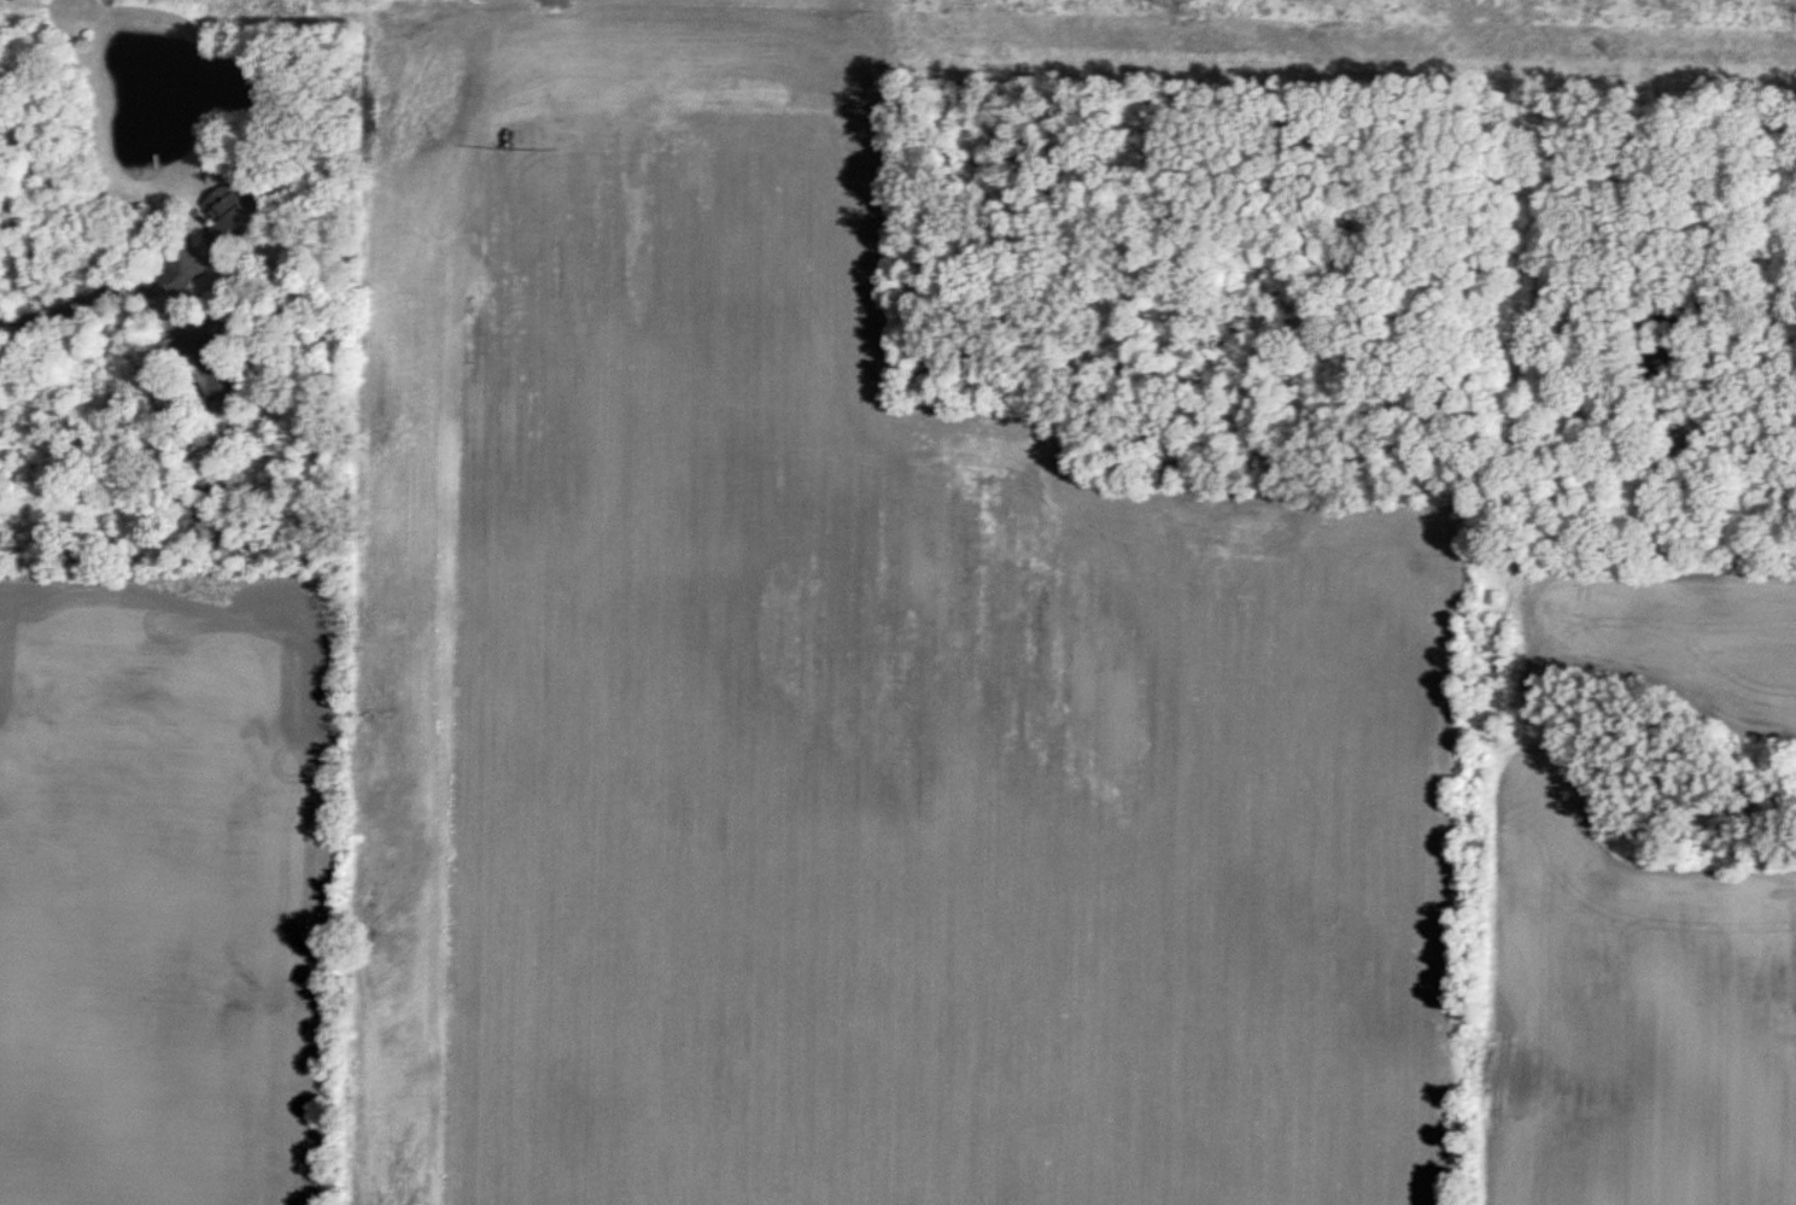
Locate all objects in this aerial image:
power tower: (555, 0)
power tower: (1190, 8)
building: (240, 224)
road: (185, 229)
road: (49, 310)

